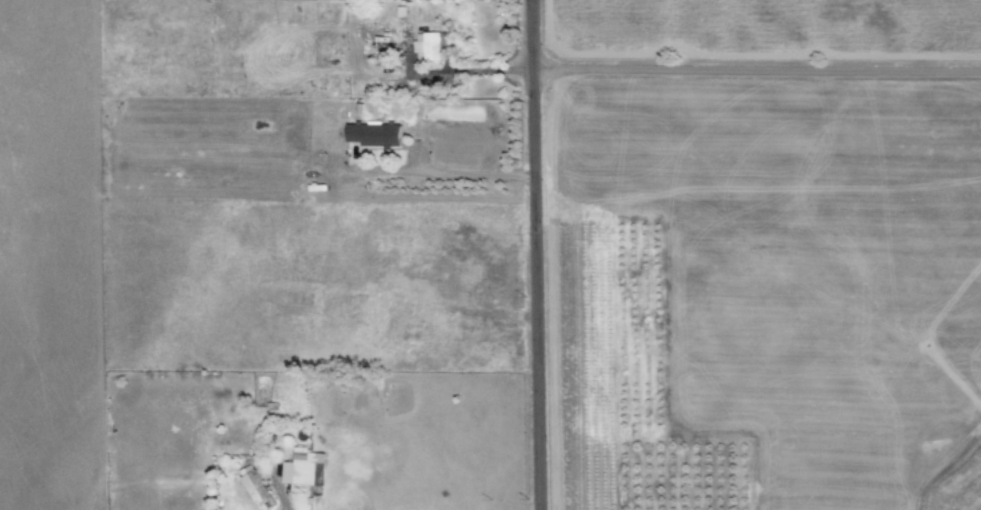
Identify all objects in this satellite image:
building: (428, 45)
road: (752, 68)
road: (464, 71)
building: (373, 134)
road: (437, 174)
road: (530, 254)
building: (302, 468)
building: (255, 488)
road: (280, 509)

